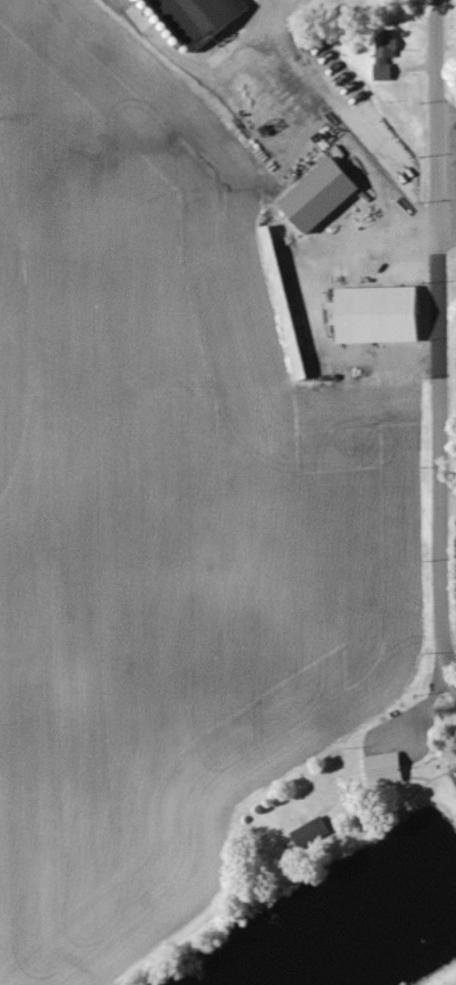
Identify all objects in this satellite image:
building: (387, 56)
road: (200, 67)
road: (446, 113)
building: (325, 196)
road: (447, 234)
road: (316, 303)
building: (290, 304)
building: (383, 316)
road: (438, 334)
road: (450, 678)
building: (389, 770)
building: (312, 834)

